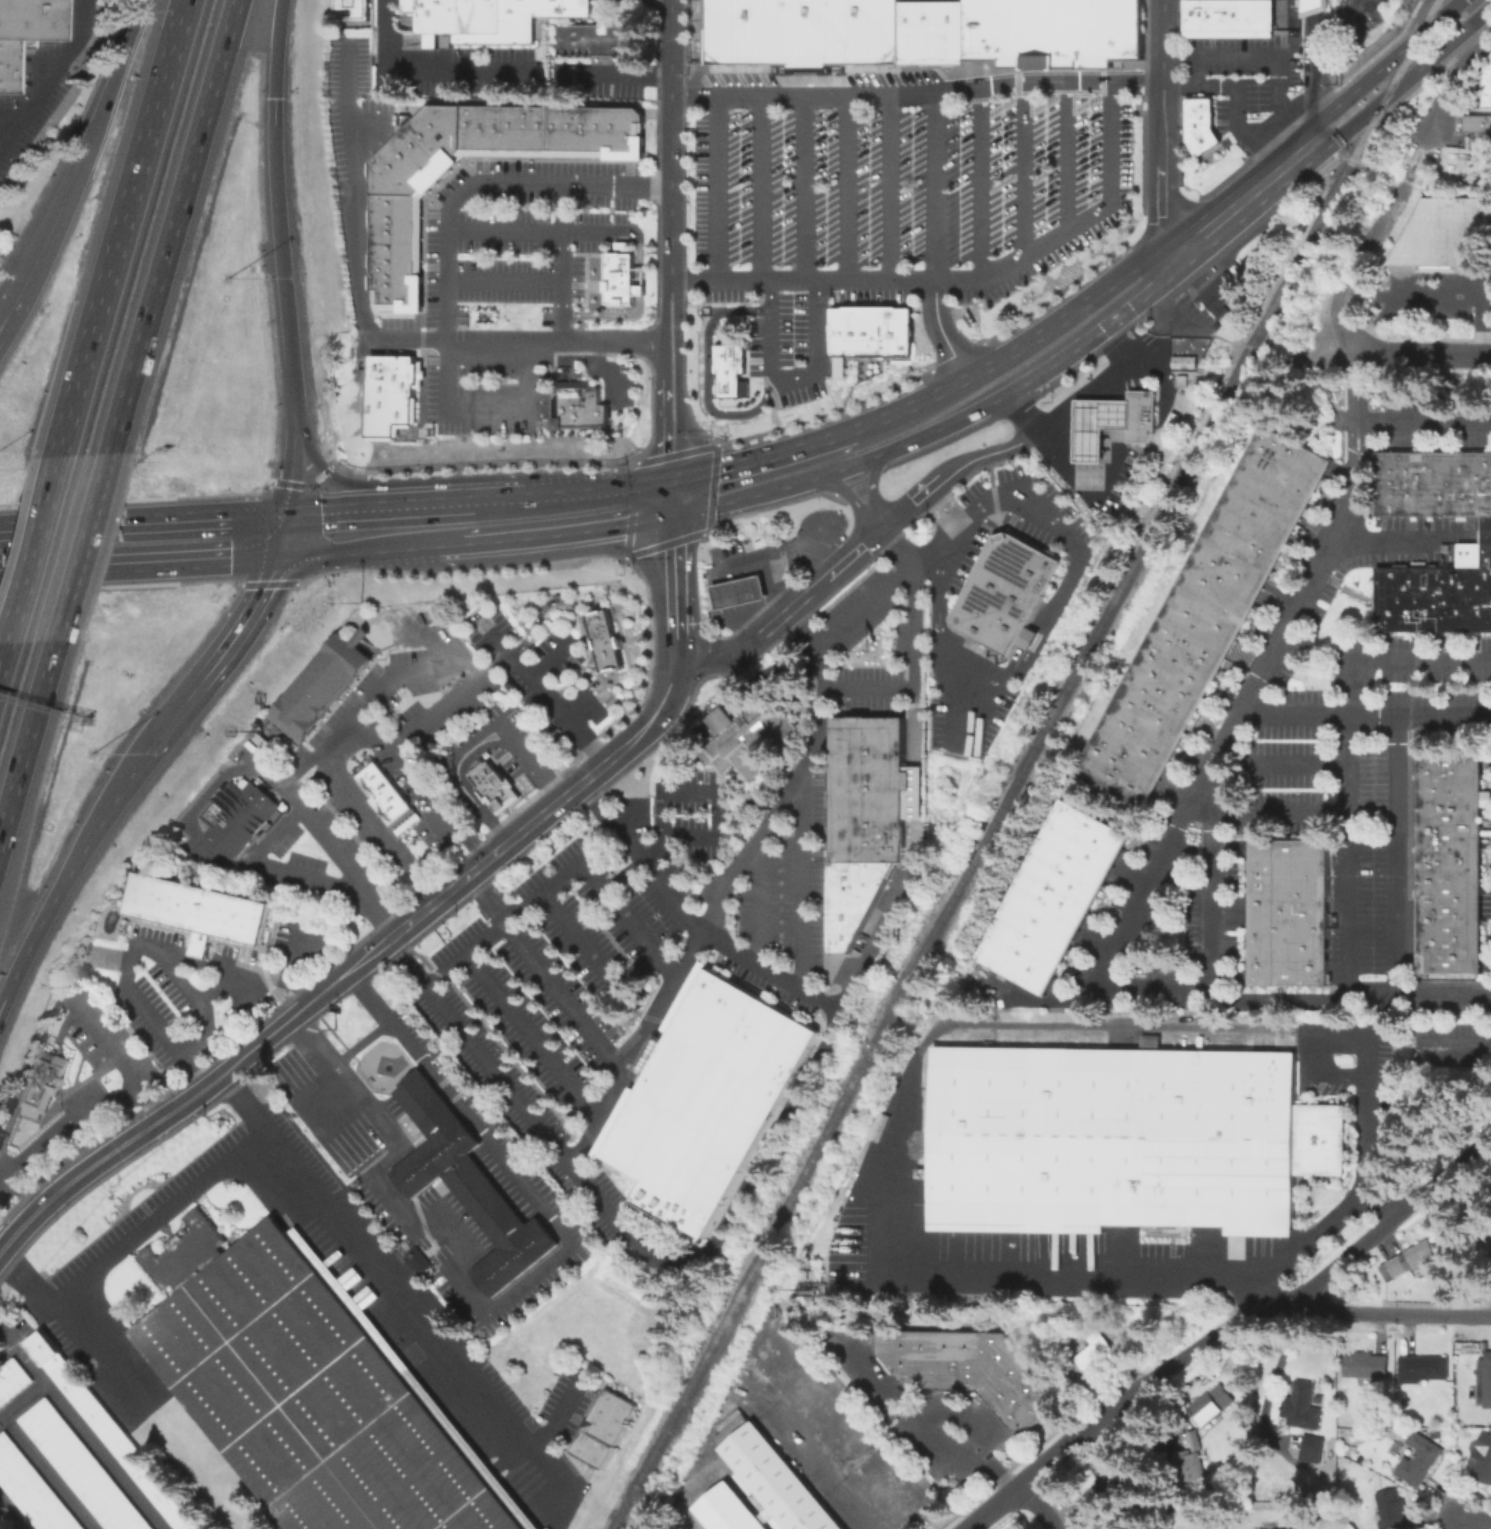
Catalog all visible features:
road: (1344, 5)
road: (1357, 5)
building: (1312, 7)
road: (1313, 7)
building: (349, 12)
road: (1161, 14)
building: (485, 18)
building: (1228, 18)
building: (27, 19)
building: (698, 31)
building: (802, 32)
building: (905, 32)
building: (923, 32)
building: (948, 32)
building: (1052, 32)
building: (597, 39)
road: (1316, 41)
road: (273, 49)
road: (1256, 59)
road: (1161, 62)
road: (1320, 64)
road: (1384, 64)
building: (5, 65)
road: (425, 73)
road: (616, 75)
road: (1408, 76)
road: (47, 81)
building: (1487, 86)
road: (1452, 88)
road: (106, 94)
road: (915, 94)
traffic signals: (271, 100)
road: (1237, 102)
road: (271, 106)
building: (1198, 112)
road: (1289, 112)
building: (1476, 123)
building: (447, 130)
building: (483, 130)
building: (498, 130)
building: (512, 130)
building: (534, 130)
building: (555, 130)
building: (576, 131)
building: (605, 131)
building: (631, 131)
road: (669, 137)
building: (1200, 140)
road: (1067, 157)
road: (1026, 169)
building: (404, 171)
road: (1161, 175)
road: (1400, 178)
road: (486, 182)
road: (980, 184)
road: (720, 186)
road: (764, 186)
road: (804, 186)
road: (849, 186)
road: (892, 186)
road: (937, 186)
road: (1250, 190)
parking lot: (889, 200)
road: (628, 208)
road: (172, 226)
road: (121, 228)
building: (395, 231)
road: (539, 232)
building: (1447, 236)
road: (41, 240)
building: (621, 245)
road: (638, 257)
road: (562, 263)
building: (394, 267)
road: (279, 269)
road: (504, 278)
building: (620, 278)
road: (962, 278)
road: (1342, 279)
parking lot: (506, 286)
road: (638, 290)
building: (1217, 294)
road: (1440, 294)
building: (394, 295)
road: (8, 308)
road: (663, 308)
road: (1168, 311)
road: (607, 314)
road: (1101, 323)
road: (941, 329)
building: (875, 330)
building: (836, 331)
building: (852, 331)
building: (901, 331)
road: (370, 336)
road: (1024, 342)
road: (1274, 349)
road: (1425, 356)
building: (728, 368)
road: (707, 369)
road: (608, 371)
building: (1182, 381)
road: (786, 383)
road: (677, 385)
building: (390, 392)
building: (580, 405)
road: (484, 408)
road: (1083, 414)
building: (1138, 415)
road: (1425, 416)
road: (660, 420)
road: (1044, 420)
building: (1095, 425)
gas station: (1095, 425)
road: (1112, 438)
road: (829, 439)
road: (912, 439)
road: (669, 455)
road: (974, 457)
road: (794, 466)
road: (823, 479)
road: (286, 480)
road: (725, 484)
building: (1432, 484)
road: (337, 488)
road: (870, 490)
traffic signals: (670, 497)
road: (599, 509)
parking lot: (1019, 514)
road: (869, 516)
road: (500, 519)
road: (450, 524)
road: (419, 526)
road: (343, 531)
traffic signals: (278, 535)
road: (1399, 539)
building: (761, 542)
road: (139, 543)
road: (935, 544)
road: (80, 545)
road: (32, 550)
road: (780, 551)
road: (673, 574)
building: (738, 591)
gas station: (738, 591)
building: (1438, 592)
building: (1004, 593)
road: (914, 602)
parking lot: (863, 608)
road: (786, 609)
road: (581, 616)
building: (1205, 619)
road: (807, 625)
parking lot: (488, 634)
building: (603, 640)
road: (500, 643)
road: (222, 648)
road: (3, 652)
parking lot: (555, 656)
road: (1399, 657)
building: (357, 661)
road: (1029, 664)
road: (547, 668)
road: (765, 671)
building: (316, 677)
parking lot: (869, 688)
building: (332, 690)
road: (869, 690)
road: (375, 695)
building: (321, 703)
road: (455, 705)
parking lot: (595, 705)
road: (1368, 711)
road: (555, 713)
road: (579, 713)
road: (715, 716)
parking lot: (969, 717)
building: (304, 724)
road: (27, 732)
building: (747, 736)
road: (956, 743)
road: (350, 744)
road: (334, 751)
road: (677, 751)
road: (528, 757)
road: (467, 763)
railway: (1023, 765)
road: (1281, 765)
road: (456, 785)
building: (495, 788)
road: (718, 788)
building: (870, 789)
building: (386, 798)
road: (110, 799)
road: (1282, 811)
building: (237, 815)
parking lot: (697, 815)
road: (613, 822)
road: (1178, 829)
road: (271, 837)
road: (503, 844)
road: (654, 852)
road: (336, 855)
building: (1451, 865)
road: (738, 871)
road: (627, 877)
road: (1349, 877)
building: (857, 879)
road: (800, 886)
road: (606, 888)
parking lot: (788, 889)
building: (1054, 897)
road: (486, 899)
road: (1397, 899)
road: (675, 900)
road: (757, 908)
building: (197, 910)
parking lot: (604, 913)
building: (1291, 913)
road: (377, 915)
building: (846, 922)
road: (38, 924)
road: (306, 940)
road: (485, 940)
road: (581, 940)
road: (293, 949)
road: (181, 951)
road: (198, 951)
road: (132, 956)
road: (651, 960)
road: (231, 961)
road: (259, 973)
parking lot: (216, 984)
road: (566, 999)
road: (1281, 1000)
building: (749, 1013)
road: (49, 1021)
road: (68, 1022)
road: (209, 1031)
parking lot: (524, 1032)
road: (534, 1037)
road: (137, 1039)
building: (1149, 1040)
road: (361, 1045)
road: (480, 1053)
road: (1366, 1054)
road: (122, 1064)
road: (195, 1069)
road: (31, 1073)
building: (44, 1084)
parking lot: (89, 1089)
road: (332, 1103)
road: (169, 1111)
building: (695, 1115)
road: (72, 1122)
road: (10, 1125)
building: (1120, 1139)
road: (896, 1148)
parking lot: (360, 1170)
building: (467, 1185)
road: (27, 1189)
building: (1479, 1206)
road: (19, 1226)
road: (620, 1232)
road: (1312, 1235)
road: (135, 1237)
building: (418, 1260)
building: (1413, 1261)
building: (1489, 1274)
road: (397, 1287)
road: (499, 1300)
road: (1257, 1312)
road: (1393, 1314)
road: (107, 1343)
building: (1095, 1353)
road: (23, 1357)
building: (1368, 1368)
building: (971, 1370)
building: (1421, 1370)
building: (12, 1380)
building: (1484, 1382)
building: (311, 1390)
road: (22, 1400)
building: (1214, 1408)
building: (1305, 1408)
road: (957, 1413)
road: (555, 1419)
building: (602, 1428)
building: (109, 1432)
road: (930, 1432)
building: (1310, 1448)
road: (104, 1456)
road: (819, 1459)
building: (1482, 1461)
building: (1191, 1462)
building: (1417, 1463)
building: (81, 1467)
road: (49, 1472)
building: (759, 1485)
building: (32, 1489)
building: (1102, 1489)
road: (1035, 1506)
road: (992, 1507)
road: (13, 1511)
building: (1393, 1512)
road: (1473, 1520)
building: (1118, 1521)
building: (1289, 1528)

